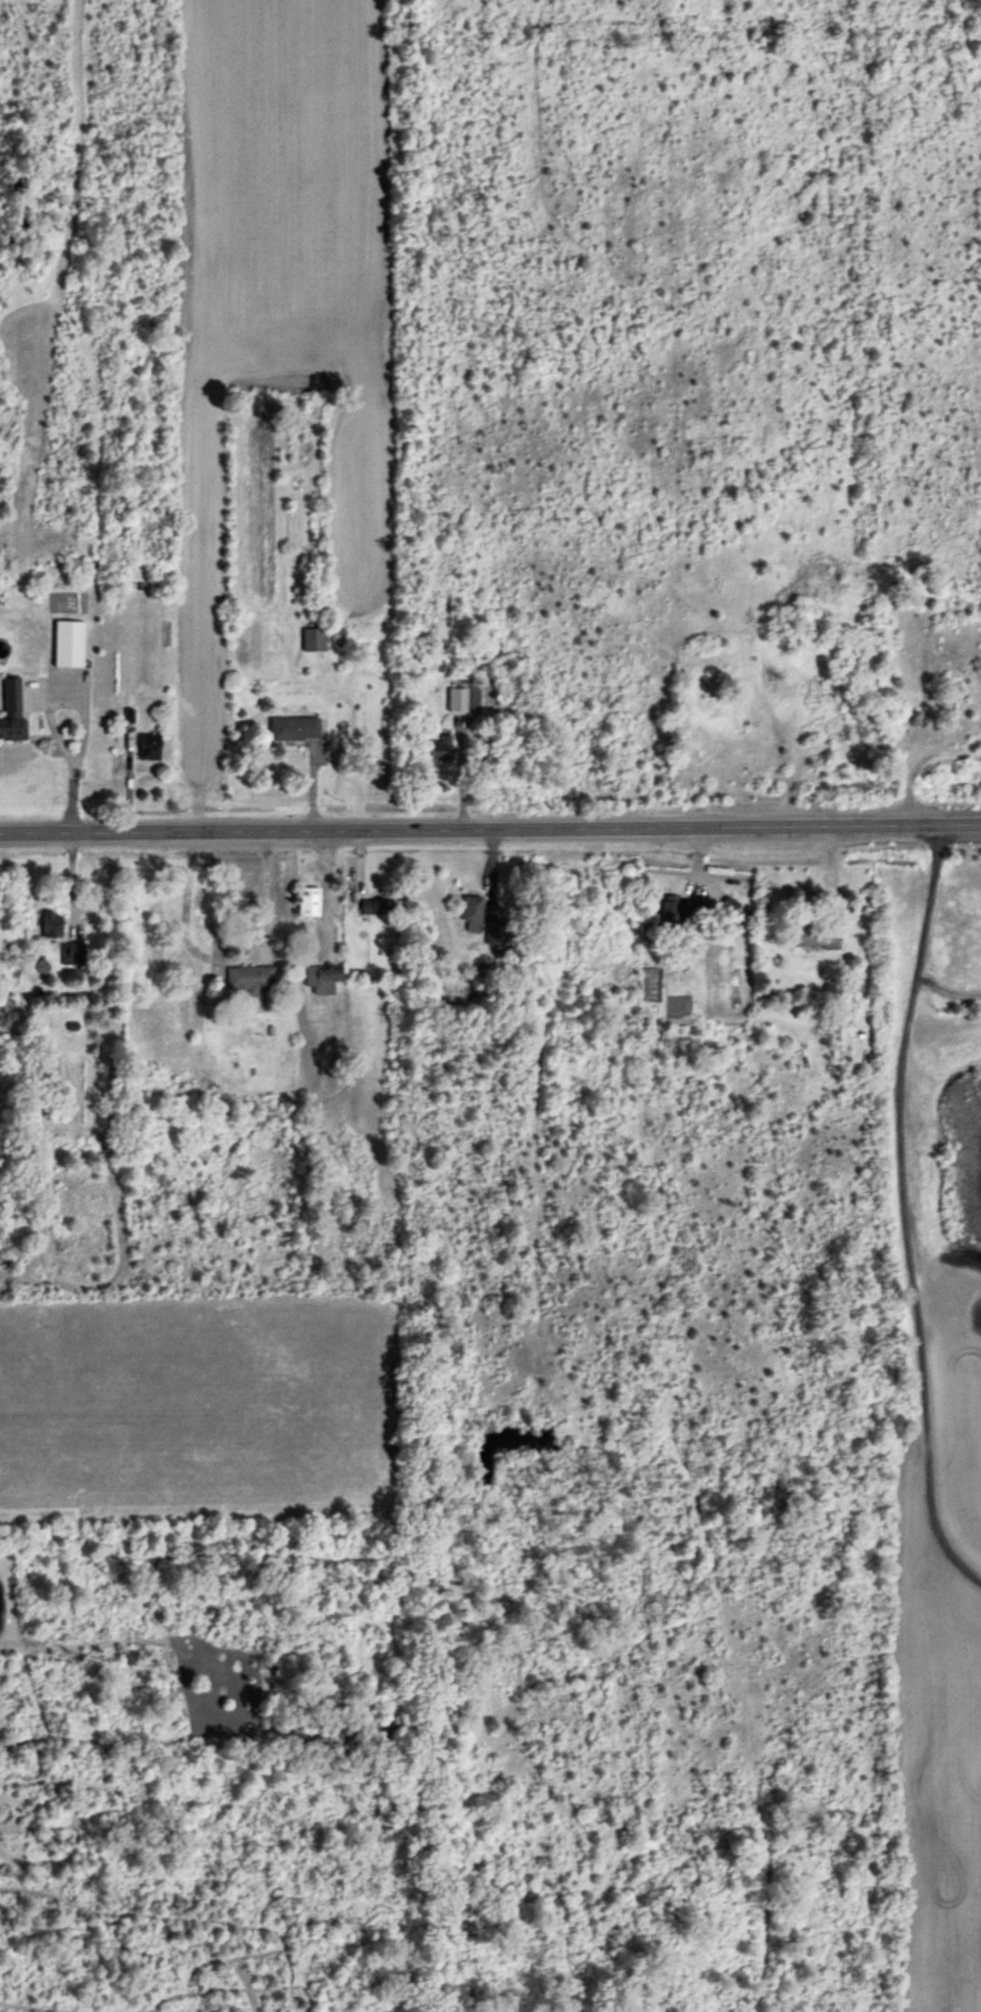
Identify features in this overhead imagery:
building: (313, 641)
building: (68, 645)
building: (457, 700)
building: (11, 712)
road: (81, 718)
building: (294, 730)
building: (148, 746)
building: (440, 750)
road: (458, 771)
road: (490, 827)
road: (323, 891)
road: (264, 892)
building: (308, 903)
building: (375, 909)
building: (680, 913)
building: (472, 914)
building: (52, 926)
building: (494, 934)
building: (816, 938)
building: (73, 954)
building: (251, 979)
building: (322, 980)

